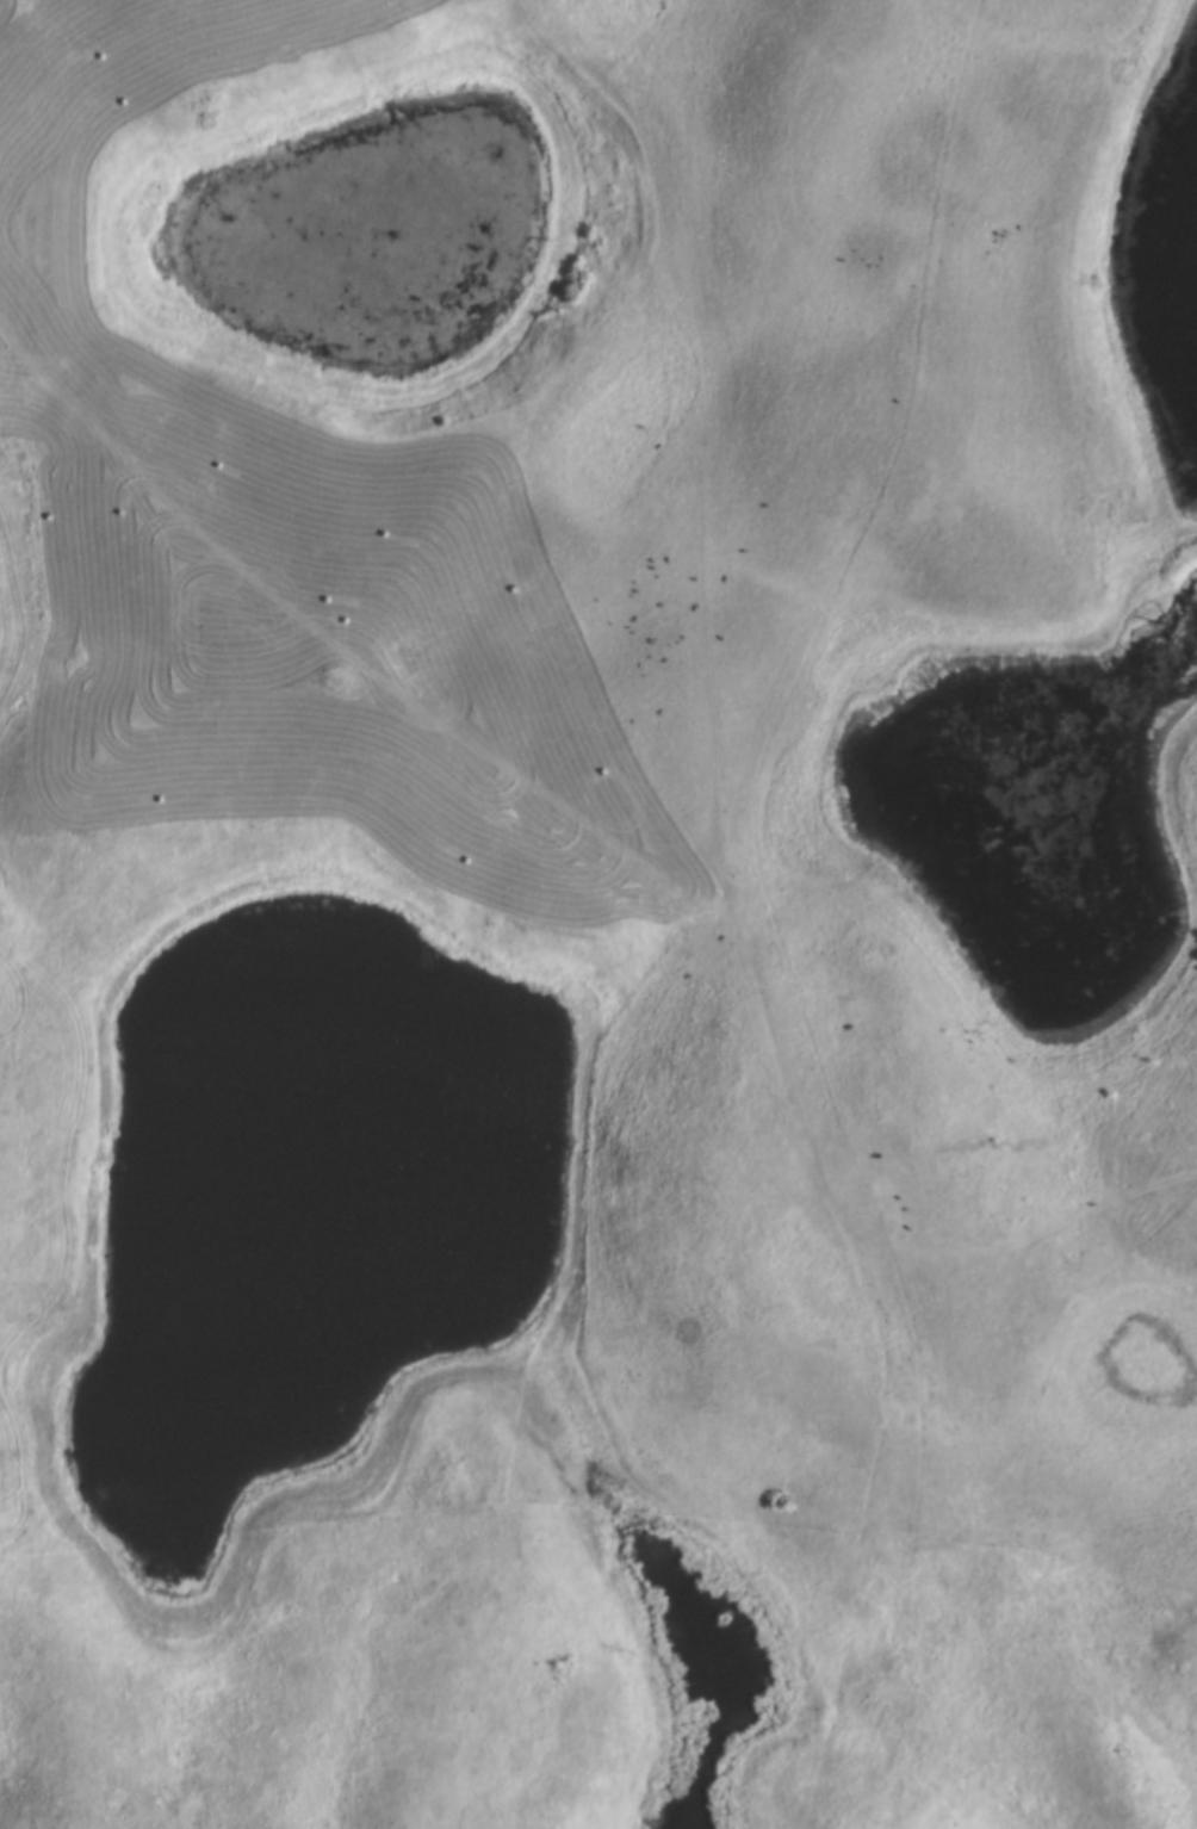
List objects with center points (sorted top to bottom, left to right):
road: (739, 924)
road: (864, 1543)

